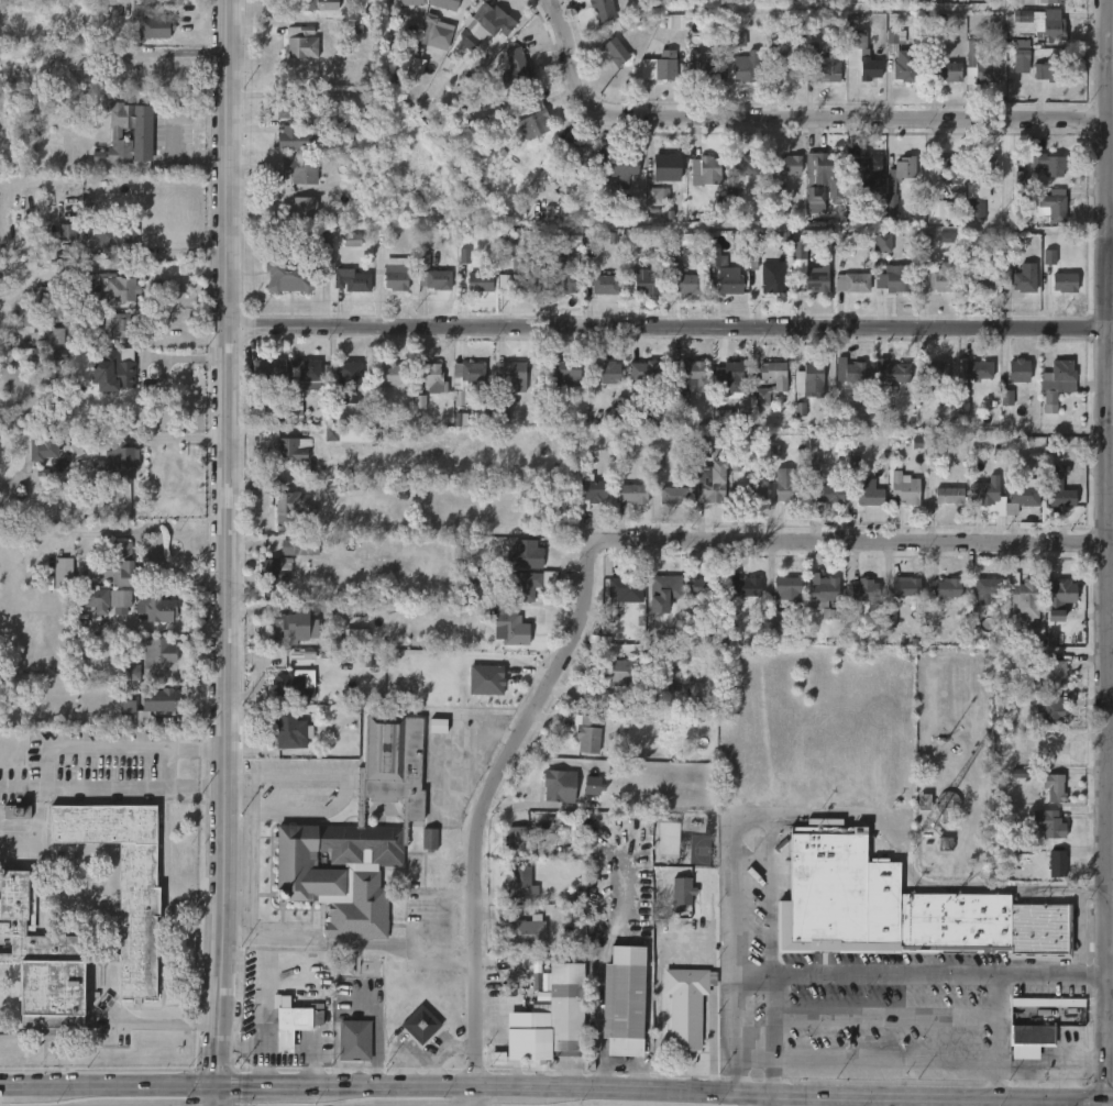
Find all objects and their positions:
building: (1051, 1)
building: (407, 2)
building: (445, 3)
building: (313, 4)
building: (602, 10)
building: (151, 20)
building: (674, 21)
building: (631, 22)
building: (994, 23)
building: (505, 26)
building: (1051, 30)
building: (428, 34)
building: (737, 41)
building: (301, 42)
building: (615, 52)
building: (862, 55)
building: (1020, 55)
building: (902, 56)
building: (979, 64)
building: (662, 66)
building: (704, 68)
building: (740, 68)
building: (1051, 68)
building: (516, 69)
building: (790, 69)
building: (828, 69)
building: (945, 70)
building: (289, 104)
road: (791, 118)
building: (535, 121)
building: (125, 134)
building: (300, 137)
building: (792, 164)
building: (570, 165)
building: (1050, 165)
building: (741, 166)
building: (620, 167)
building: (666, 167)
building: (949, 168)
building: (299, 169)
building: (706, 169)
building: (866, 170)
building: (900, 172)
building: (822, 177)
building: (1021, 178)
building: (979, 186)
building: (658, 196)
building: (1054, 206)
building: (940, 209)
building: (298, 210)
road: (1110, 230)
building: (67, 232)
building: (781, 236)
building: (104, 237)
building: (319, 239)
building: (352, 240)
building: (530, 241)
building: (924, 241)
building: (883, 243)
road: (177, 254)
building: (464, 256)
building: (717, 257)
building: (1048, 257)
building: (423, 261)
road: (177, 270)
building: (284, 272)
building: (767, 272)
building: (395, 274)
building: (522, 274)
building: (565, 275)
building: (897, 277)
building: (943, 277)
building: (434, 279)
building: (818, 279)
building: (1006, 280)
building: (352, 281)
building: (482, 281)
building: (729, 281)
building: (642, 283)
building: (852, 283)
building: (981, 283)
building: (1025, 283)
building: (1067, 283)
building: (688, 284)
building: (605, 285)
building: (112, 288)
building: (45, 299)
building: (118, 324)
road: (668, 327)
building: (54, 335)
building: (267, 367)
building: (121, 368)
building: (566, 369)
building: (979, 370)
building: (1020, 370)
building: (652, 372)
building: (849, 372)
building: (892, 372)
building: (609, 373)
building: (385, 374)
building: (514, 374)
building: (470, 375)
building: (934, 375)
building: (432, 376)
building: (694, 377)
building: (731, 377)
building: (306, 378)
building: (345, 379)
building: (808, 379)
building: (1058, 381)
building: (781, 383)
building: (1006, 398)
building: (419, 402)
building: (377, 408)
building: (621, 408)
building: (503, 411)
building: (723, 417)
building: (352, 434)
building: (43, 446)
building: (701, 447)
building: (288, 450)
building: (117, 462)
building: (710, 483)
building: (789, 488)
building: (905, 489)
building: (1061, 489)
building: (592, 491)
building: (632, 494)
building: (872, 494)
building: (1025, 494)
building: (671, 495)
building: (748, 496)
building: (829, 496)
building: (949, 496)
building: (990, 496)
building: (294, 509)
road: (856, 542)
road: (225, 543)
road: (1108, 550)
building: (527, 555)
building: (122, 566)
building: (278, 567)
building: (62, 573)
building: (530, 584)
building: (707, 586)
building: (745, 588)
building: (906, 588)
building: (947, 588)
building: (625, 589)
building: (866, 590)
building: (987, 590)
building: (823, 591)
building: (663, 593)
building: (1026, 597)
building: (1061, 597)
building: (120, 598)
building: (783, 599)
building: (97, 600)
building: (156, 607)
building: (891, 617)
building: (294, 627)
road: (165, 629)
building: (514, 629)
building: (355, 637)
building: (158, 652)
building: (1055, 668)
building: (627, 670)
building: (131, 672)
building: (486, 679)
building: (291, 686)
building: (659, 690)
building: (151, 704)
building: (1051, 709)
building: (438, 726)
building: (289, 730)
building: (587, 734)
building: (1049, 746)
road: (46, 768)
building: (1018, 773)
road: (251, 784)
building: (559, 784)
building: (592, 785)
building: (1055, 786)
road: (342, 793)
road: (489, 799)
building: (946, 803)
building: (16, 811)
road: (748, 817)
building: (1049, 823)
building: (577, 831)
building: (517, 838)
building: (359, 839)
building: (430, 839)
building: (1057, 862)
road: (250, 863)
building: (522, 883)
road: (919, 885)
building: (682, 892)
building: (905, 909)
building: (141, 922)
building: (527, 932)
road: (236, 937)
road: (363, 943)
road: (861, 976)
road: (588, 980)
building: (624, 1002)
building: (1042, 1003)
building: (685, 1005)
building: (565, 1006)
road: (163, 1022)
building: (294, 1022)
building: (420, 1025)
road: (1111, 1030)
road: (774, 1035)
building: (1031, 1036)
road: (998, 1037)
building: (266, 1039)
building: (533, 1039)
building: (353, 1040)
road: (886, 1058)
road: (1087, 1064)
road: (1031, 1065)
road: (1023, 1082)
road: (1064, 1082)
road: (389, 1084)
road: (506, 1084)
road: (262, 1085)
road: (15, 1086)
road: (126, 1086)
traffic signals: (221, 1086)
road: (562, 1086)
road: (682, 1091)
road: (476, 1094)
road: (807, 1094)
road: (221, 1096)
road: (973, 1097)
road: (776, 1099)
traffic signals: (1110, 1099)
road: (1111, 1099)
road: (1110, 1103)

